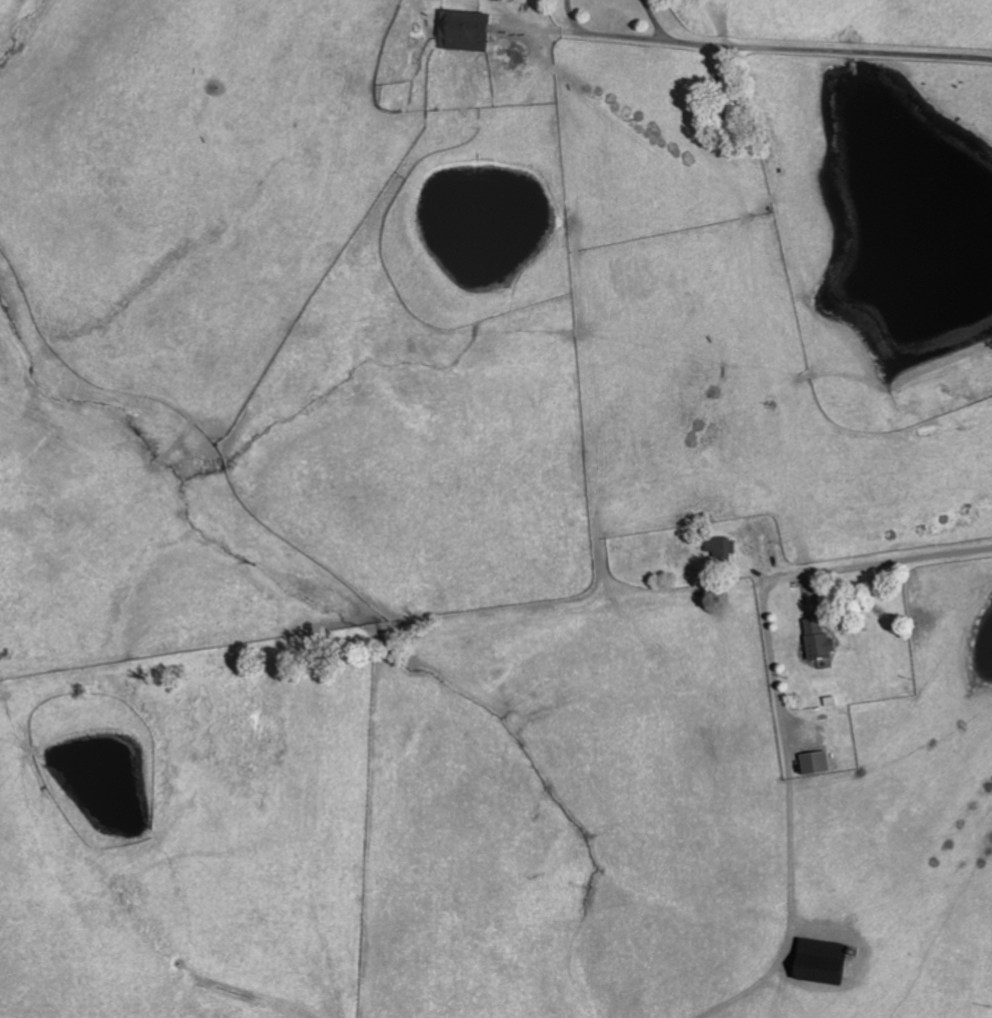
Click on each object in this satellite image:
building: (511, 0)
road: (651, 20)
building: (472, 30)
road: (600, 34)
road: (827, 51)
building: (720, 550)
road: (879, 565)
building: (816, 641)
building: (814, 764)
road: (787, 819)
building: (819, 961)

